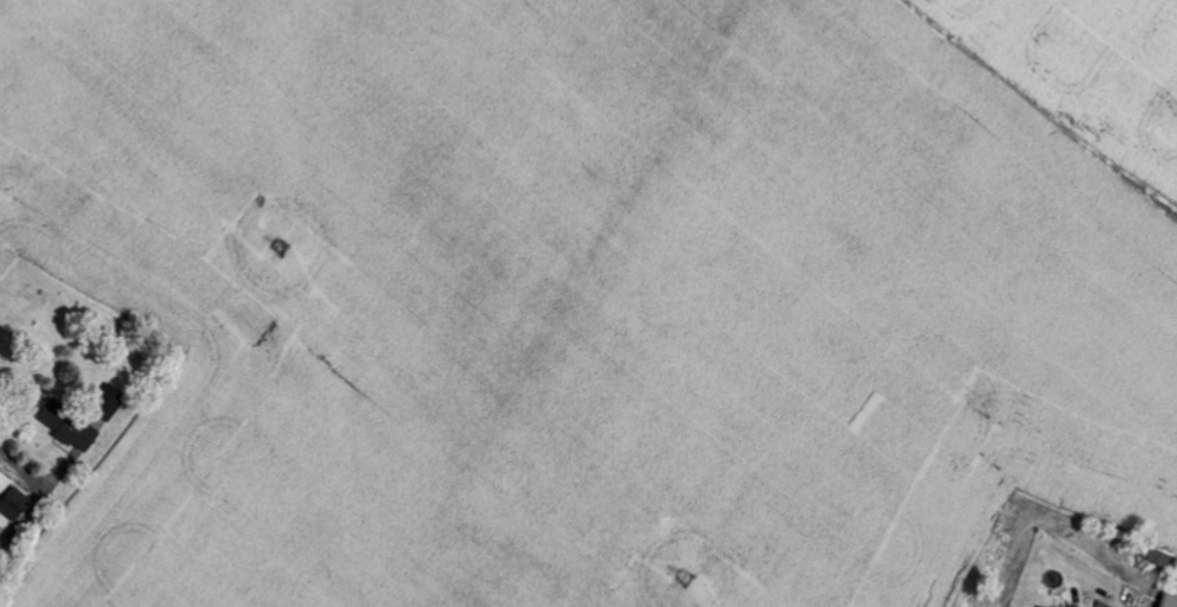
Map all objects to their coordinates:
building: (111, 403)
building: (72, 427)
road: (11, 466)
building: (17, 505)
road: (36, 515)
building: (2, 537)
building: (1157, 558)
building: (1166, 601)

